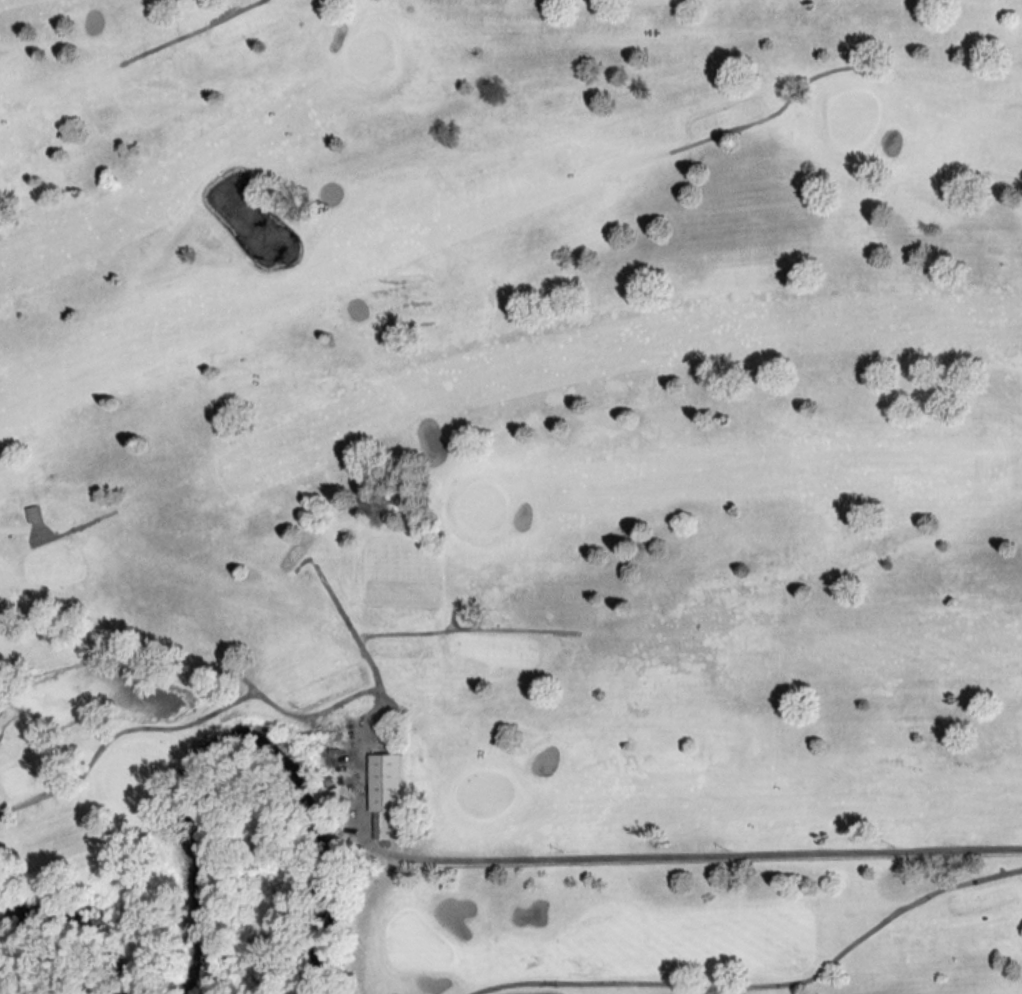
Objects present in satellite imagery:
park: (507, 425)
building: (33, 515)
building: (386, 797)
road: (707, 854)
park: (681, 920)
park: (48, 976)
road: (762, 985)

